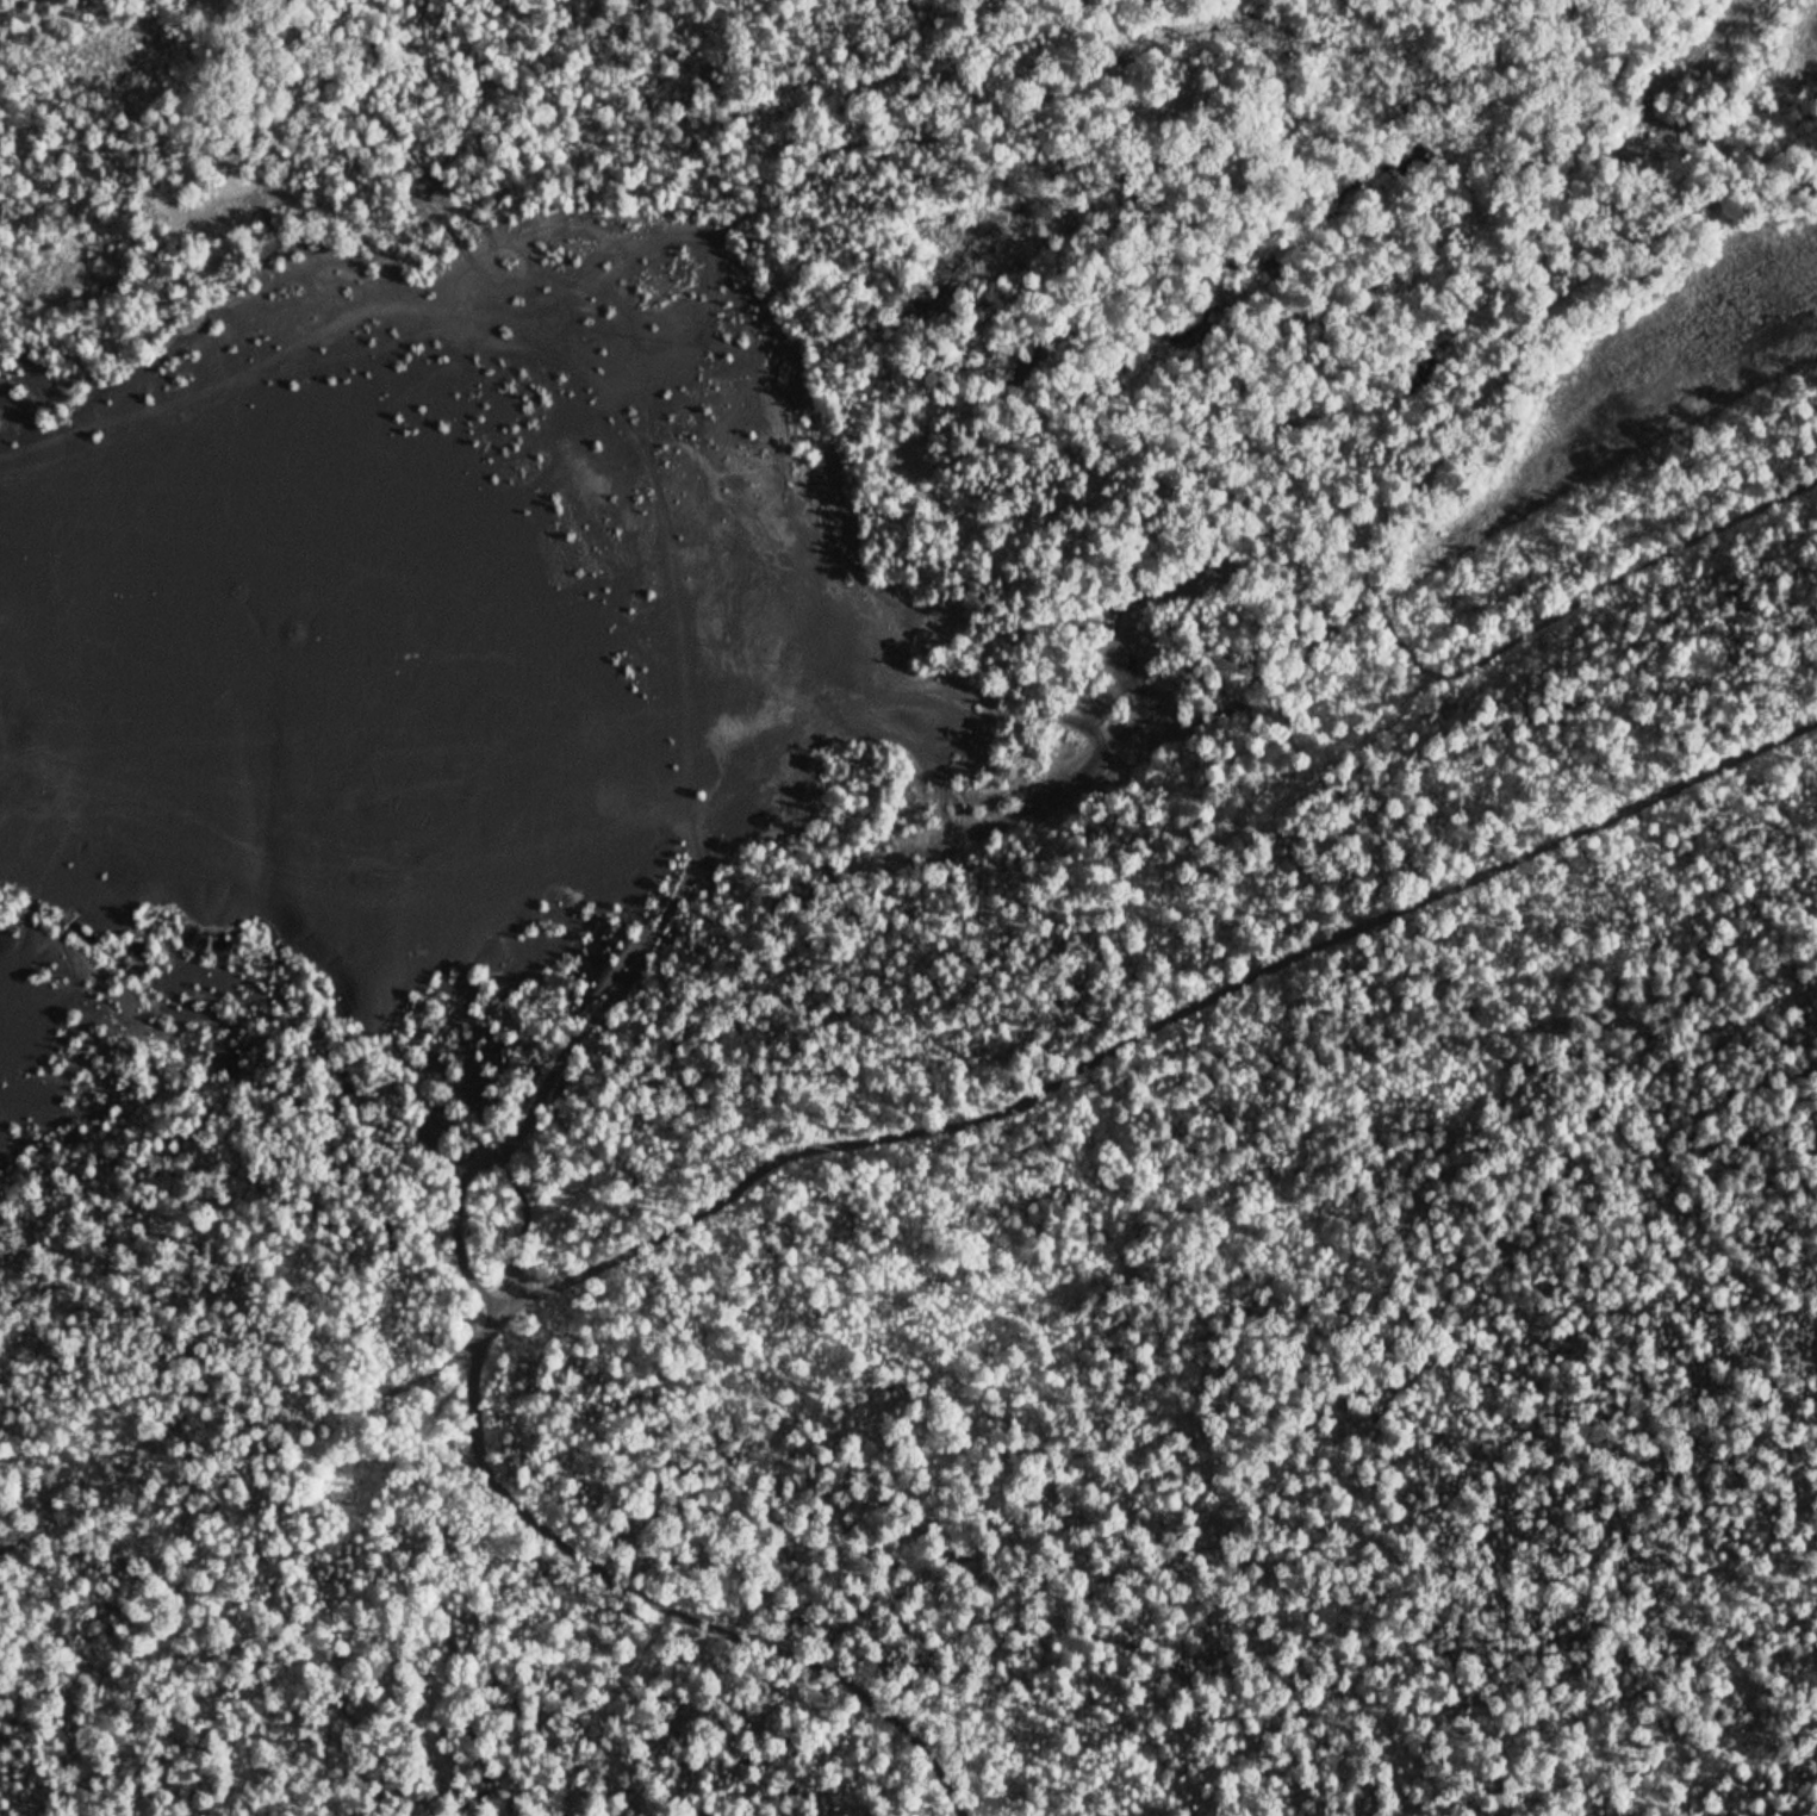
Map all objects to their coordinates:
landfill: (386, 641)
road: (1462, 875)
road: (561, 1055)
road: (797, 1158)
road: (657, 1597)

